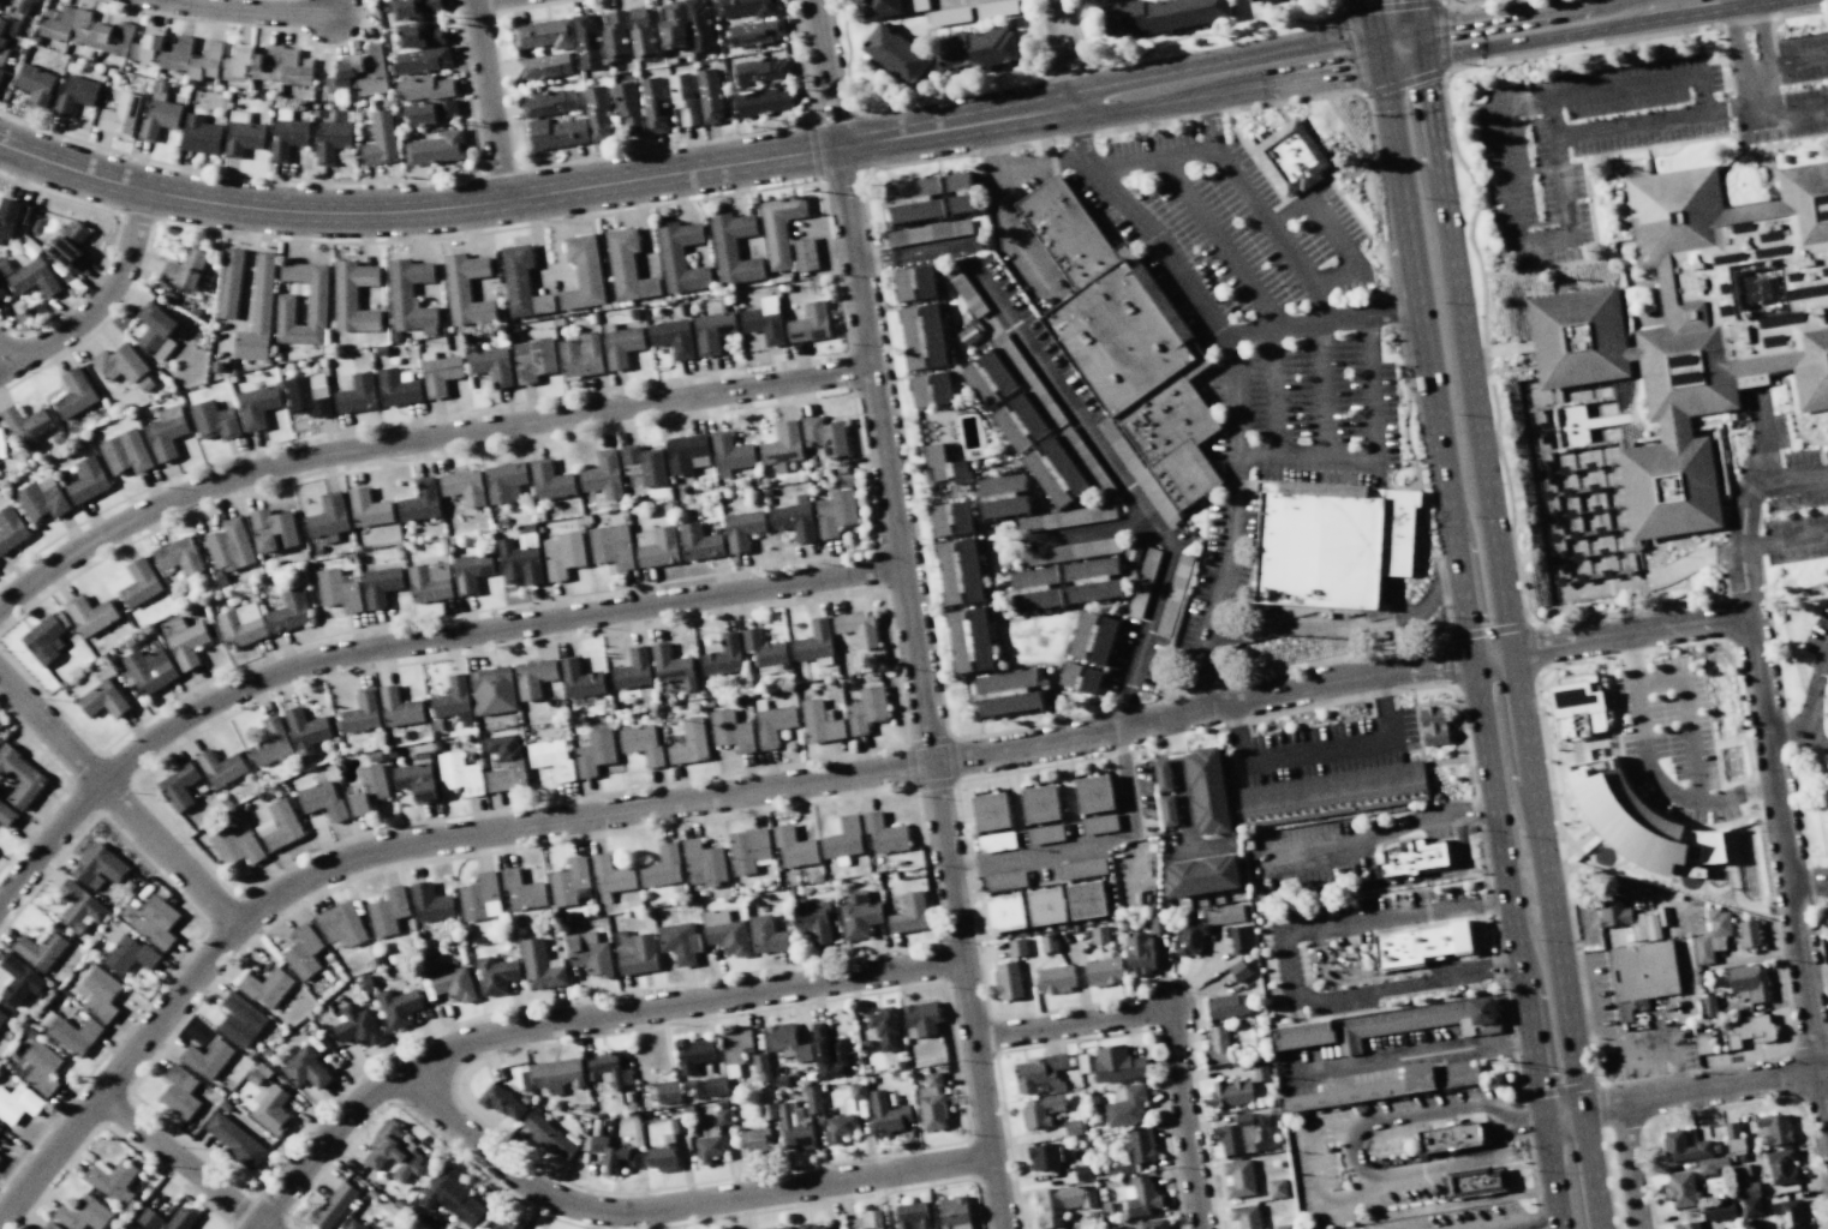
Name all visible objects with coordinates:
building: (1253, 0)
road: (1468, 4)
building: (18, 5)
building: (919, 5)
building: (413, 7)
building: (747, 7)
building: (882, 7)
building: (994, 8)
road: (249, 10)
road: (1057, 10)
building: (1161, 14)
building: (949, 16)
building: (56, 23)
road: (1417, 23)
building: (698, 25)
road: (1536, 25)
building: (11, 26)
building: (671, 26)
road: (1373, 26)
building: (84, 29)
building: (754, 32)
building: (543, 34)
building: (640, 34)
road: (1214, 34)
building: (418, 35)
building: (615, 35)
road: (1762, 37)
building: (114, 38)
road: (1732, 40)
building: (586, 42)
building: (148, 46)
traffic signals: (1421, 46)
building: (975, 47)
building: (4, 48)
building: (175, 53)
building: (895, 53)
traffic signals: (1378, 53)
building: (420, 60)
road: (1076, 60)
road: (1790, 60)
building: (204, 61)
building: (237, 62)
building: (267, 64)
road: (1058, 64)
building: (543, 65)
building: (294, 68)
building: (369, 70)
building: (760, 70)
building: (1, 71)
building: (341, 77)
building: (36, 84)
building: (424, 88)
parking lot: (1794, 92)
building: (74, 95)
building: (709, 95)
road: (1757, 95)
building: (682, 98)
road: (489, 100)
building: (549, 102)
building: (763, 102)
building: (652, 103)
building: (627, 108)
building: (431, 112)
building: (597, 112)
road: (1794, 113)
building: (120, 114)
building: (159, 114)
road: (1656, 121)
building: (556, 132)
building: (241, 133)
building: (199, 134)
building: (287, 138)
building: (381, 139)
building: (331, 140)
road: (1081, 140)
parking lot: (1581, 142)
building: (435, 148)
road: (1500, 150)
building: (1289, 158)
road: (1152, 161)
road: (687, 170)
road: (1015, 170)
building: (960, 191)
building: (914, 199)
building: (11, 217)
building: (779, 228)
building: (928, 232)
road: (1009, 234)
road: (1333, 234)
building: (68, 246)
building: (733, 248)
building: (804, 253)
road: (907, 253)
building: (680, 257)
road: (1294, 262)
building: (627, 266)
building: (184, 269)
building: (583, 272)
building: (32, 278)
building: (914, 282)
building: (229, 283)
building: (521, 283)
building: (963, 288)
building: (466, 289)
building: (1, 294)
road: (1256, 294)
building: (408, 295)
building: (353, 296)
road: (103, 302)
building: (285, 308)
building: (257, 312)
road: (1319, 322)
building: (810, 323)
building: (763, 324)
building: (1695, 328)
building: (155, 330)
building: (711, 331)
building: (967, 334)
building: (921, 335)
building: (673, 337)
building: (1123, 342)
building: (621, 346)
building: (579, 354)
building: (532, 359)
building: (119, 364)
building: (491, 365)
building: (440, 373)
building: (988, 378)
building: (1027, 379)
building: (396, 388)
building: (931, 389)
building: (74, 394)
building: (356, 394)
building: (307, 395)
road: (1540, 398)
building: (256, 406)
road: (1236, 416)
building: (214, 420)
building: (1018, 422)
building: (26, 427)
building: (825, 436)
building: (165, 437)
road: (419, 440)
road: (1763, 443)
building: (782, 444)
road: (1369, 451)
building: (125, 452)
building: (730, 452)
building: (686, 454)
building: (1086, 462)
building: (643, 466)
building: (944, 466)
building: (1055, 472)
road: (1115, 472)
building: (1136, 472)
building: (603, 475)
building: (86, 480)
building: (549, 480)
building: (504, 481)
road: (1788, 484)
building: (464, 487)
building: (1002, 496)
building: (41, 499)
building: (419, 500)
parking lot: (1793, 503)
building: (368, 508)
building: (835, 511)
building: (950, 517)
building: (1065, 517)
building: (328, 518)
building: (794, 518)
building: (11, 529)
building: (741, 529)
building: (273, 530)
road: (1083, 533)
building: (1330, 541)
road: (1785, 541)
building: (699, 542)
building: (228, 546)
building: (610, 546)
building: (656, 546)
building: (1069, 551)
building: (1131, 551)
building: (562, 553)
road: (1742, 553)
building: (178, 556)
building: (519, 563)
road: (1677, 566)
building: (470, 571)
building: (958, 571)
building: (1092, 580)
building: (429, 582)
building: (1142, 582)
building: (139, 583)
building: (380, 586)
building: (1035, 588)
building: (337, 590)
building: (1173, 595)
building: (289, 611)
building: (89, 614)
road: (910, 614)
road: (1338, 624)
building: (240, 625)
building: (856, 628)
building: (1092, 637)
road: (1511, 637)
building: (969, 639)
road: (1609, 639)
building: (43, 640)
road: (1468, 641)
building: (814, 643)
building: (187, 646)
road: (406, 647)
building: (763, 648)
building: (722, 657)
building: (671, 666)
building: (149, 670)
building: (633, 670)
building: (533, 677)
building: (1080, 677)
building: (580, 679)
road: (1814, 685)
building: (491, 690)
building: (1008, 691)
building: (102, 700)
building: (453, 700)
building: (1576, 706)
building: (399, 708)
building: (866, 709)
building: (360, 713)
road: (1685, 715)
building: (819, 723)
building: (772, 724)
building: (1433, 726)
building: (305, 731)
building: (730, 731)
road: (1798, 735)
parking lot: (1668, 741)
building: (271, 743)
building: (641, 743)
building: (689, 743)
building: (595, 753)
road: (1319, 753)
building: (550, 759)
road: (934, 761)
building: (504, 763)
building: (221, 767)
road: (1650, 772)
building: (459, 773)
building: (1161, 775)
building: (19, 778)
building: (374, 780)
building: (416, 781)
road: (1181, 783)
building: (178, 786)
building: (1207, 790)
building: (1094, 793)
building: (1333, 793)
building: (322, 801)
road: (119, 802)
building: (1041, 804)
building: (1167, 810)
building: (991, 811)
building: (7, 815)
building: (281, 825)
building: (1639, 825)
building: (884, 833)
road: (1095, 843)
building: (237, 846)
building: (794, 847)
road: (1201, 847)
building: (748, 850)
building: (1409, 858)
building: (703, 863)
road: (1787, 864)
building: (98, 867)
building: (662, 867)
building: (1201, 875)
building: (610, 879)
building: (569, 883)
road: (1810, 888)
building: (521, 891)
building: (1086, 897)
building: (479, 898)
building: (430, 903)
building: (1045, 904)
building: (80, 907)
building: (1004, 909)
building: (387, 911)
building: (1612, 912)
building: (909, 913)
building: (1225, 913)
building: (858, 915)
building: (155, 921)
building: (813, 921)
building: (1157, 923)
building: (1719, 923)
building: (341, 924)
building: (1647, 927)
building: (1099, 933)
building: (1748, 933)
building: (766, 935)
building: (1190, 936)
building: (1238, 939)
building: (680, 942)
building: (1049, 942)
building: (1420, 942)
building: (1016, 946)
building: (41, 949)
building: (1702, 949)
building: (127, 952)
building: (303, 952)
building: (1139, 953)
building: (637, 954)
building: (590, 957)
building: (540, 965)
building: (1239, 970)
building: (1103, 971)
building: (495, 975)
building: (1641, 975)
building: (1056, 978)
building: (1008, 979)
building: (19, 981)
building: (450, 982)
building: (1749, 982)
building: (267, 987)
building: (98, 993)
building: (1227, 1005)
road: (175, 1007)
building: (398, 1007)
building: (1, 1018)
building: (920, 1019)
building: (240, 1020)
road: (573, 1021)
road: (1171, 1024)
building: (1387, 1025)
building: (357, 1026)
building: (884, 1027)
building: (1748, 1030)
road: (1584, 1033)
building: (73, 1035)
road: (1613, 1038)
building: (785, 1042)
building: (1702, 1042)
building: (734, 1044)
building: (1215, 1047)
building: (828, 1053)
building: (693, 1054)
building: (207, 1059)
building: (1116, 1063)
building: (38, 1067)
building: (760, 1067)
building: (306, 1069)
building: (608, 1069)
building: (1259, 1071)
building: (556, 1074)
building: (1038, 1074)
building: (715, 1086)
building: (1387, 1086)
building: (667, 1091)
building: (179, 1092)
building: (1230, 1092)
road: (1685, 1093)
building: (812, 1099)
building: (932, 1102)
building: (17, 1103)
building: (502, 1103)
building: (1125, 1105)
building: (271, 1110)
building: (767, 1110)
building: (1040, 1110)
building: (886, 1114)
building: (722, 1116)
building: (841, 1127)
building: (1773, 1128)
building: (794, 1129)
building: (1243, 1133)
building: (1731, 1134)
building: (549, 1137)
building: (1447, 1137)
building: (234, 1139)
building: (754, 1141)
building: (1140, 1145)
building: (709, 1147)
building: (393, 1152)
building: (1691, 1152)
building: (611, 1155)
building: (661, 1157)
building: (1043, 1157)
road: (185, 1163)
road: (1630, 1165)
building: (1781, 1167)
building: (1238, 1177)
building: (112, 1180)
building: (1472, 1181)
building: (1276, 1187)
building: (1680, 1189)
building: (1140, 1197)
building: (1748, 1197)
building: (452, 1198)
building: (1061, 1203)
building: (334, 1205)
road: (679, 1209)
building: (1718, 1211)
building: (954, 1212)
building: (82, 1213)
building: (1791, 1213)
building: (912, 1216)
building: (1244, 1216)
building: (149, 1218)
building: (871, 1219)
building: (353, 1224)
building: (507, 1224)
building: (1151, 1224)
building: (48, 1225)
building: (1686, 1225)
building: (812, 1227)
building: (1283, 1227)
building: (376, 1228)
building: (779, 1228)

